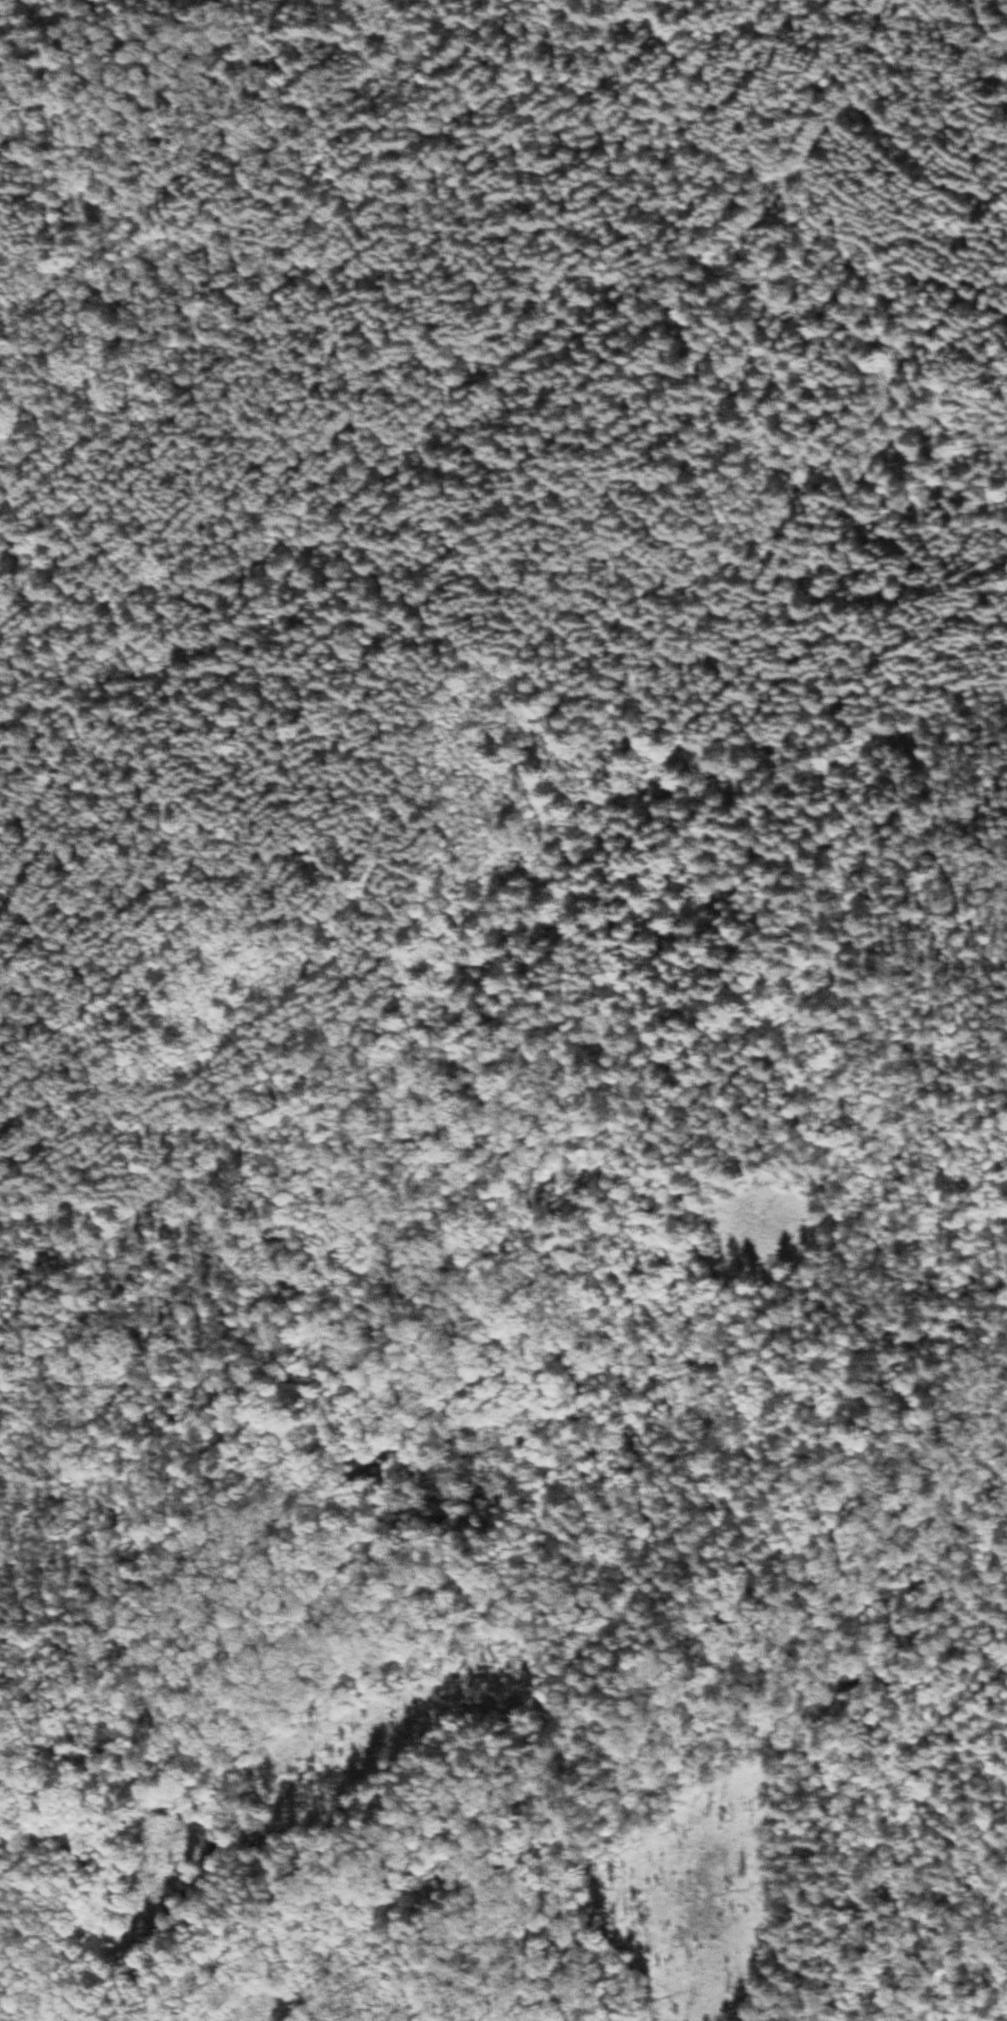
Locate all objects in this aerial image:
road: (915, 471)

